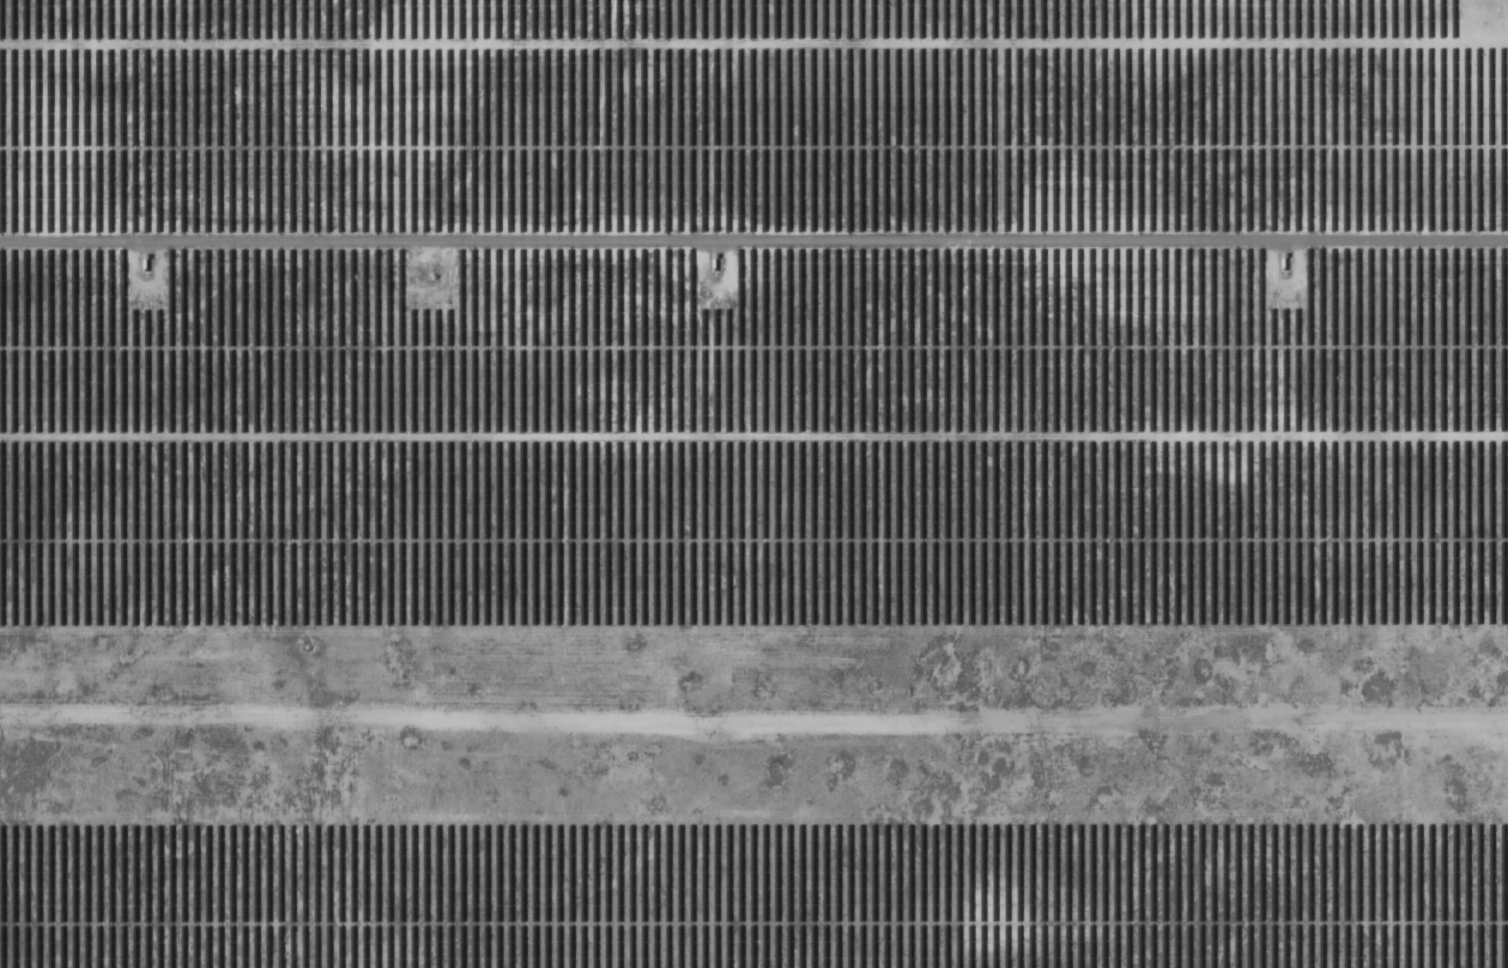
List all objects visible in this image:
solar farm: (754, 484)

